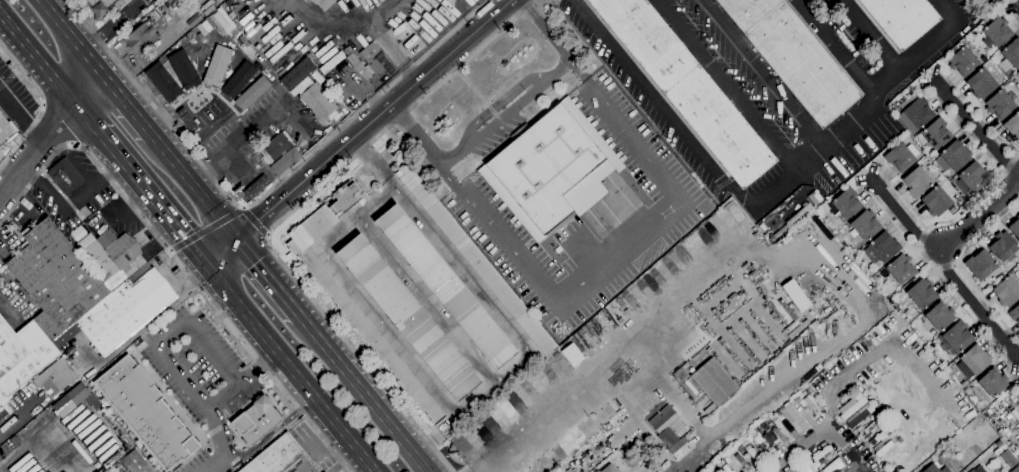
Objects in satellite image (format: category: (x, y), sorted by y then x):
building: (310, 0)
building: (101, 7)
building: (208, 7)
building: (155, 14)
road: (334, 16)
building: (194, 19)
building: (902, 19)
road: (108, 24)
building: (161, 24)
building: (997, 31)
road: (67, 34)
building: (142, 37)
road: (876, 37)
building: (350, 48)
road: (392, 48)
road: (835, 50)
building: (1010, 55)
building: (794, 56)
building: (371, 61)
building: (963, 61)
building: (332, 62)
building: (216, 65)
building: (183, 69)
road: (411, 70)
road: (765, 73)
building: (1018, 73)
road: (45, 74)
building: (237, 79)
building: (163, 82)
building: (981, 83)
road: (728, 85)
building: (327, 86)
building: (687, 87)
building: (310, 90)
building: (251, 92)
building: (334, 93)
road: (122, 102)
building: (1000, 104)
road: (42, 106)
road: (12, 110)
building: (914, 112)
road: (505, 114)
road: (264, 120)
road: (57, 125)
building: (1013, 126)
building: (5, 129)
road: (978, 130)
road: (358, 131)
road: (48, 133)
building: (937, 133)
road: (32, 136)
road: (415, 136)
building: (276, 147)
road: (229, 151)
building: (901, 156)
building: (953, 156)
road: (369, 158)
building: (285, 161)
building: (551, 169)
road: (201, 173)
building: (65, 176)
building: (948, 177)
building: (971, 178)
building: (917, 182)
road: (391, 183)
road: (192, 187)
road: (262, 195)
road: (149, 196)
building: (346, 197)
road: (765, 199)
building: (936, 201)
building: (847, 203)
road: (982, 212)
road: (286, 214)
road: (255, 224)
building: (865, 225)
road: (651, 226)
road: (206, 228)
building: (1015, 228)
railway: (183, 238)
traffic signals: (234, 240)
building: (1018, 241)
road: (920, 244)
building: (1002, 246)
building: (881, 248)
building: (852, 250)
building: (476, 260)
road: (179, 262)
road: (945, 263)
traffic signals: (208, 264)
building: (980, 264)
building: (901, 268)
building: (874, 278)
road: (267, 279)
building: (808, 284)
building: (446, 286)
building: (1006, 292)
building: (921, 293)
building: (795, 295)
road: (357, 296)
building: (76, 297)
building: (354, 305)
road: (492, 305)
building: (1014, 313)
building: (940, 316)
building: (408, 317)
road: (189, 321)
road: (635, 336)
building: (957, 337)
building: (571, 354)
building: (973, 361)
road: (258, 365)
road: (293, 367)
building: (56, 377)
building: (714, 381)
building: (993, 382)
road: (360, 395)
building: (69, 399)
road: (831, 400)
building: (811, 404)
building: (852, 406)
building: (5, 410)
building: (145, 411)
building: (772, 418)
building: (255, 419)
building: (794, 419)
road: (450, 424)
building: (665, 425)
building: (765, 426)
building: (781, 431)
building: (771, 435)
building: (878, 437)
building: (756, 441)
road: (217, 442)
building: (999, 444)
road: (426, 445)
road: (27, 447)
road: (255, 447)
building: (680, 447)
building: (884, 448)
road: (847, 449)
building: (821, 453)
building: (275, 456)
building: (631, 458)
building: (1009, 458)
building: (728, 460)
building: (136, 462)
building: (743, 462)
building: (832, 464)
building: (609, 468)
building: (934, 468)
building: (978, 469)
building: (1016, 469)

